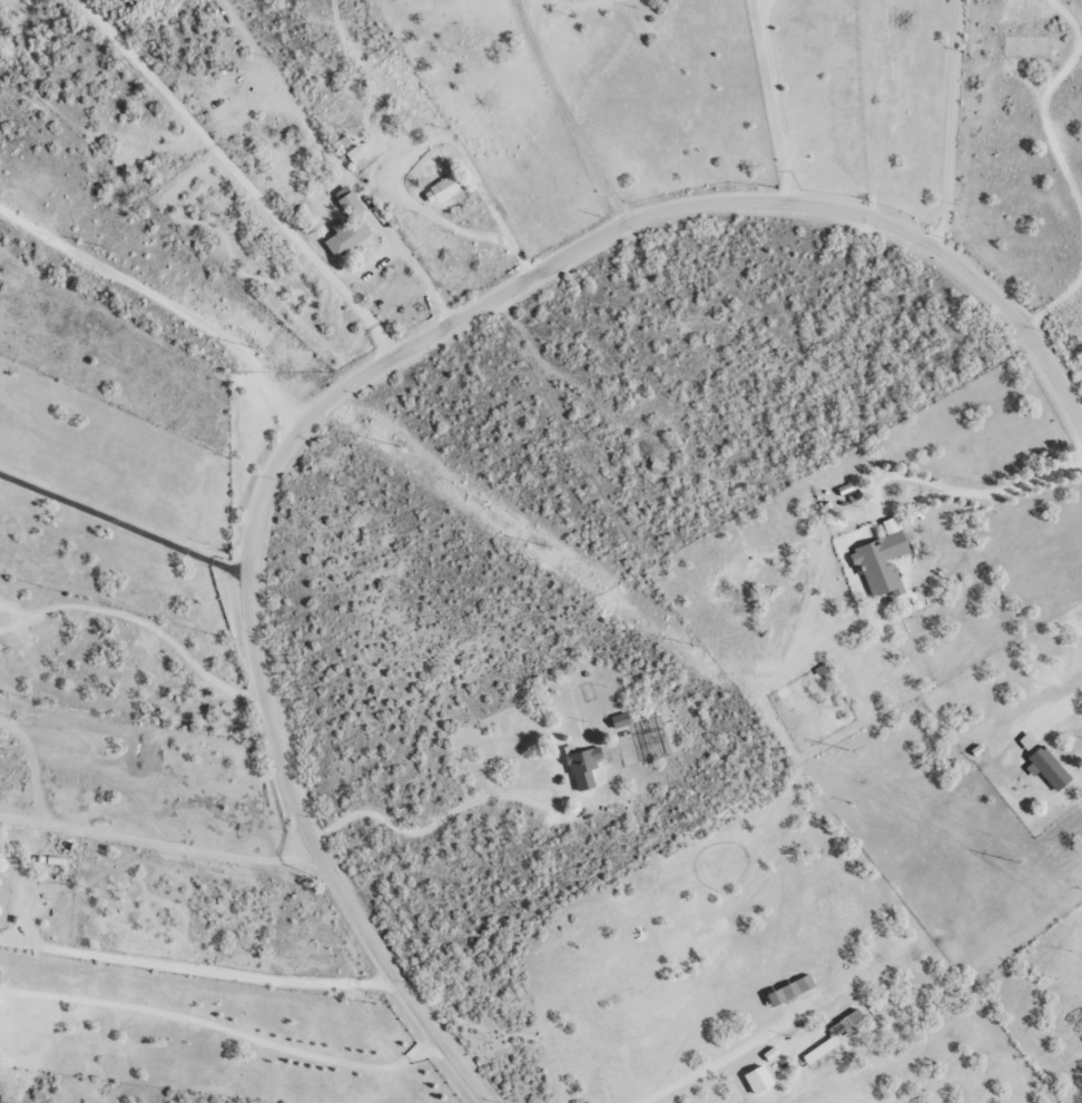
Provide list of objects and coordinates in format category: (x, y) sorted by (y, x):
building: (355, 154)
building: (441, 189)
building: (348, 225)
road: (426, 402)
building: (881, 561)
building: (620, 720)
building: (1027, 741)
building: (583, 768)
building: (1047, 769)
building: (791, 991)
building: (835, 1036)
building: (758, 1080)

